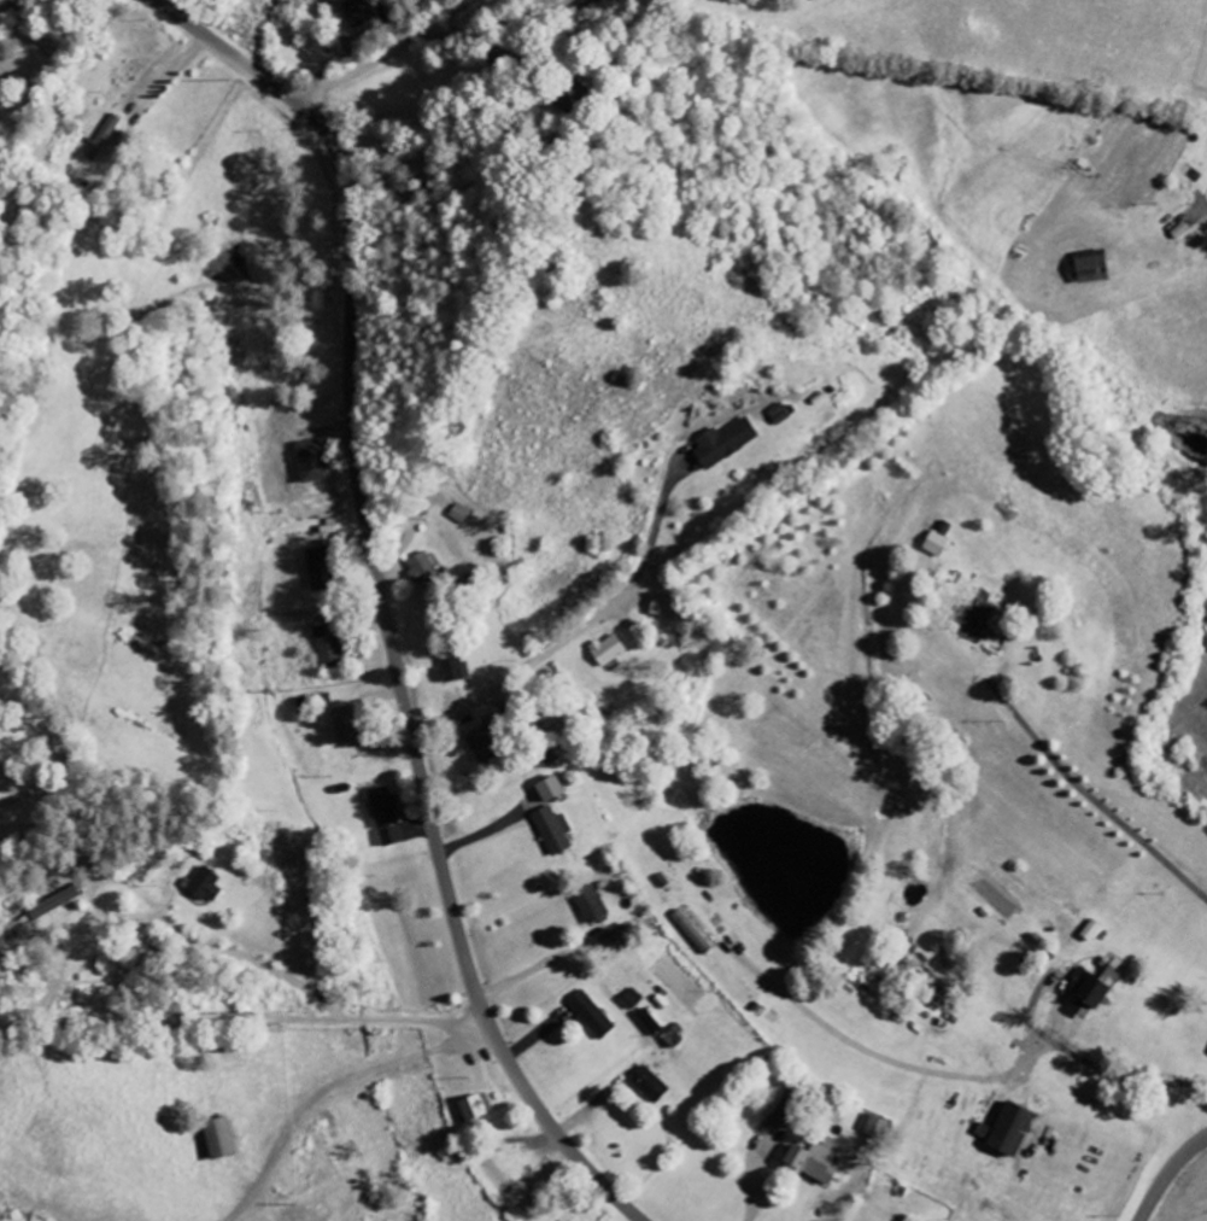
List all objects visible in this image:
building: (362, 12)
road: (43, 84)
building: (568, 94)
road: (1206, 204)
building: (1091, 268)
building: (725, 443)
building: (314, 461)
building: (459, 515)
building: (944, 528)
building: (936, 544)
building: (321, 568)
building: (423, 571)
road: (381, 596)
building: (666, 607)
building: (974, 621)
road: (581, 632)
building: (329, 647)
building: (609, 650)
building: (452, 668)
building: (346, 725)
building: (484, 746)
building: (550, 789)
road: (1092, 796)
building: (387, 817)
building: (552, 831)
building: (58, 902)
building: (590, 905)
building: (1095, 987)
building: (633, 999)
building: (591, 1016)
road: (245, 1022)
building: (648, 1023)
building: (673, 1039)
road: (1118, 1071)
building: (650, 1086)
building: (476, 1108)
building: (784, 1115)
building: (874, 1127)
building: (1008, 1131)
building: (219, 1140)
building: (815, 1161)
road: (1170, 1176)

